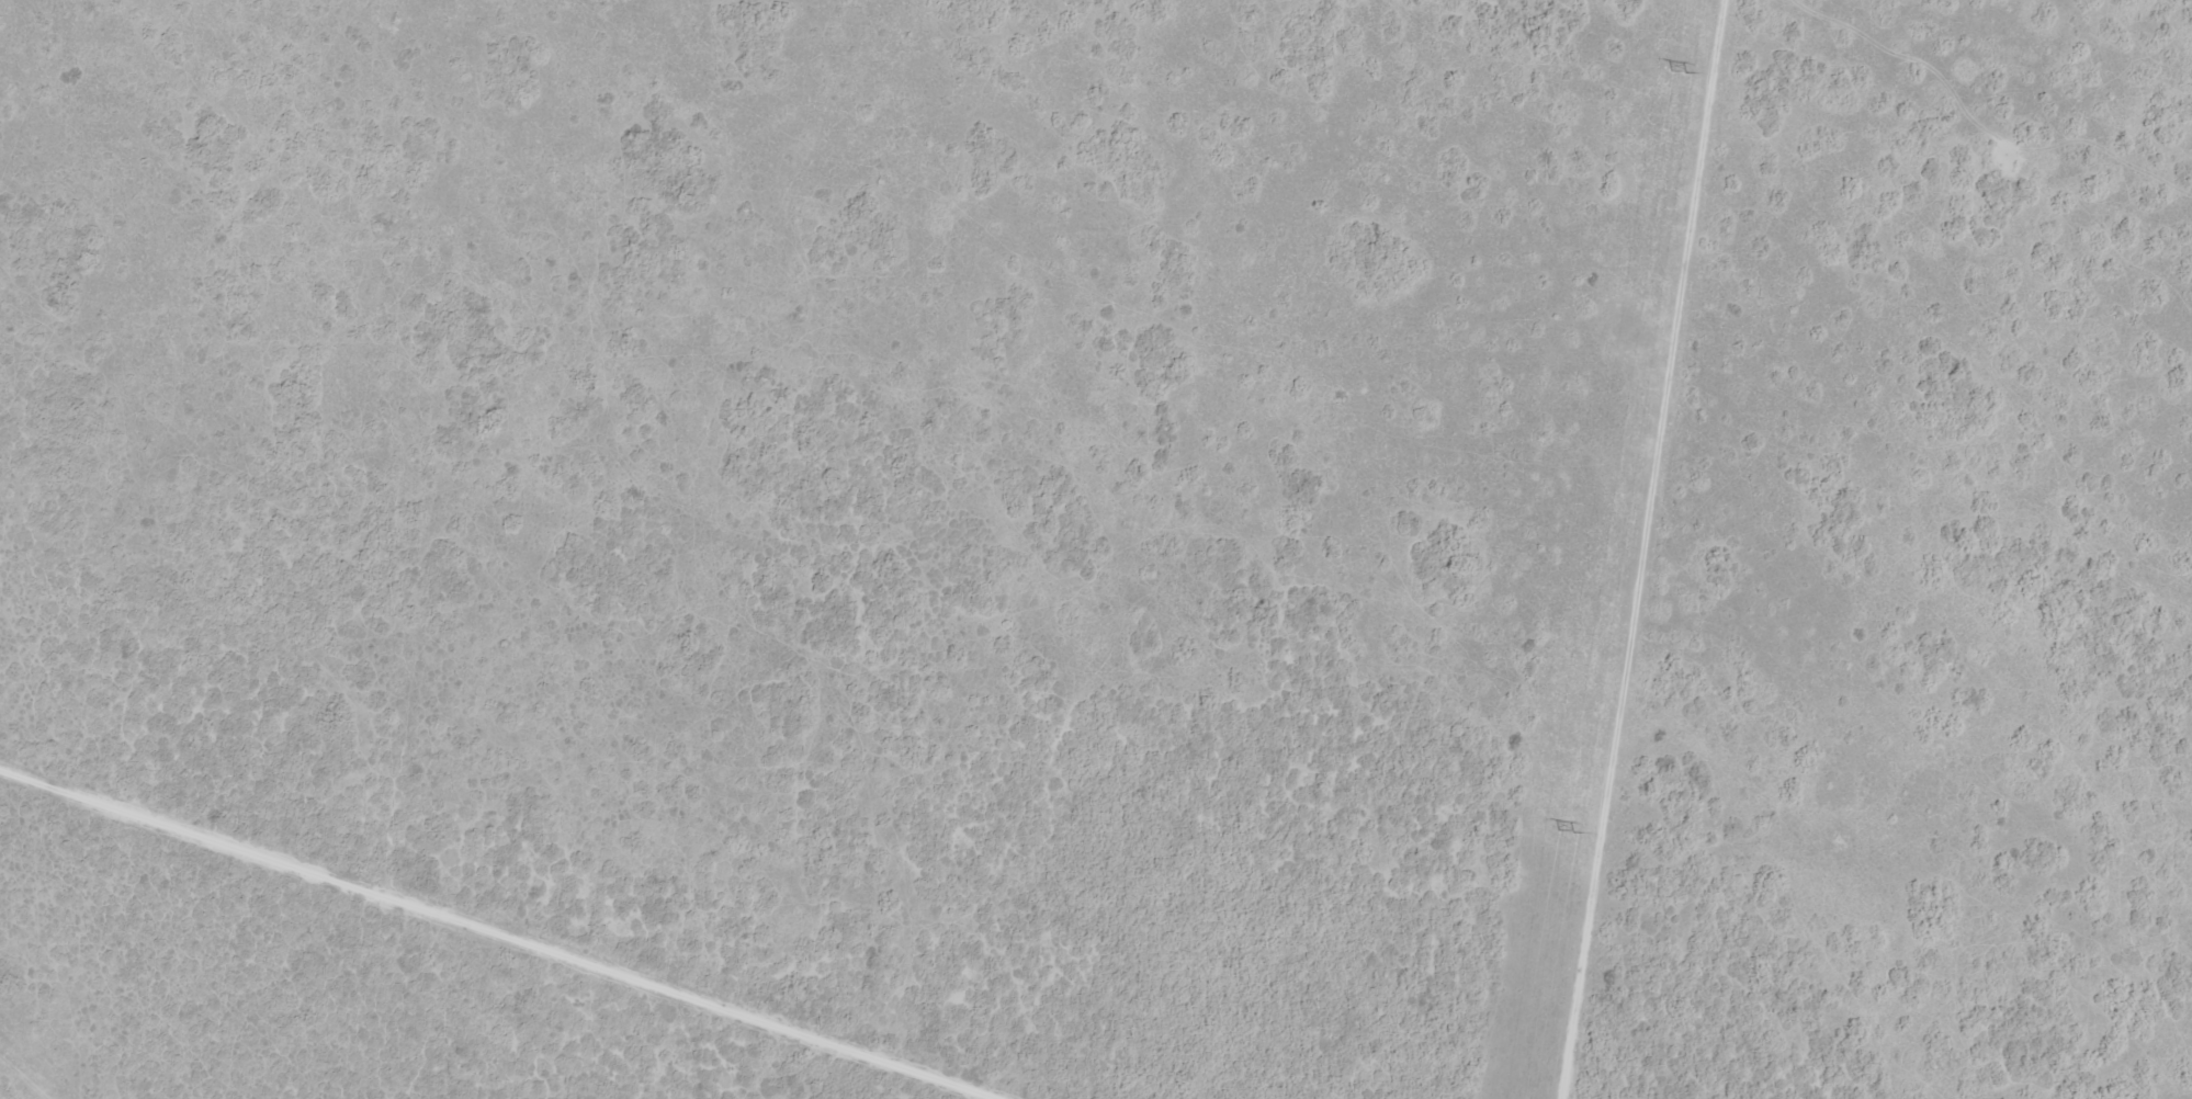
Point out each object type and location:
power tower: (1676, 71)
power tower: (1563, 831)
road: (524, 925)

